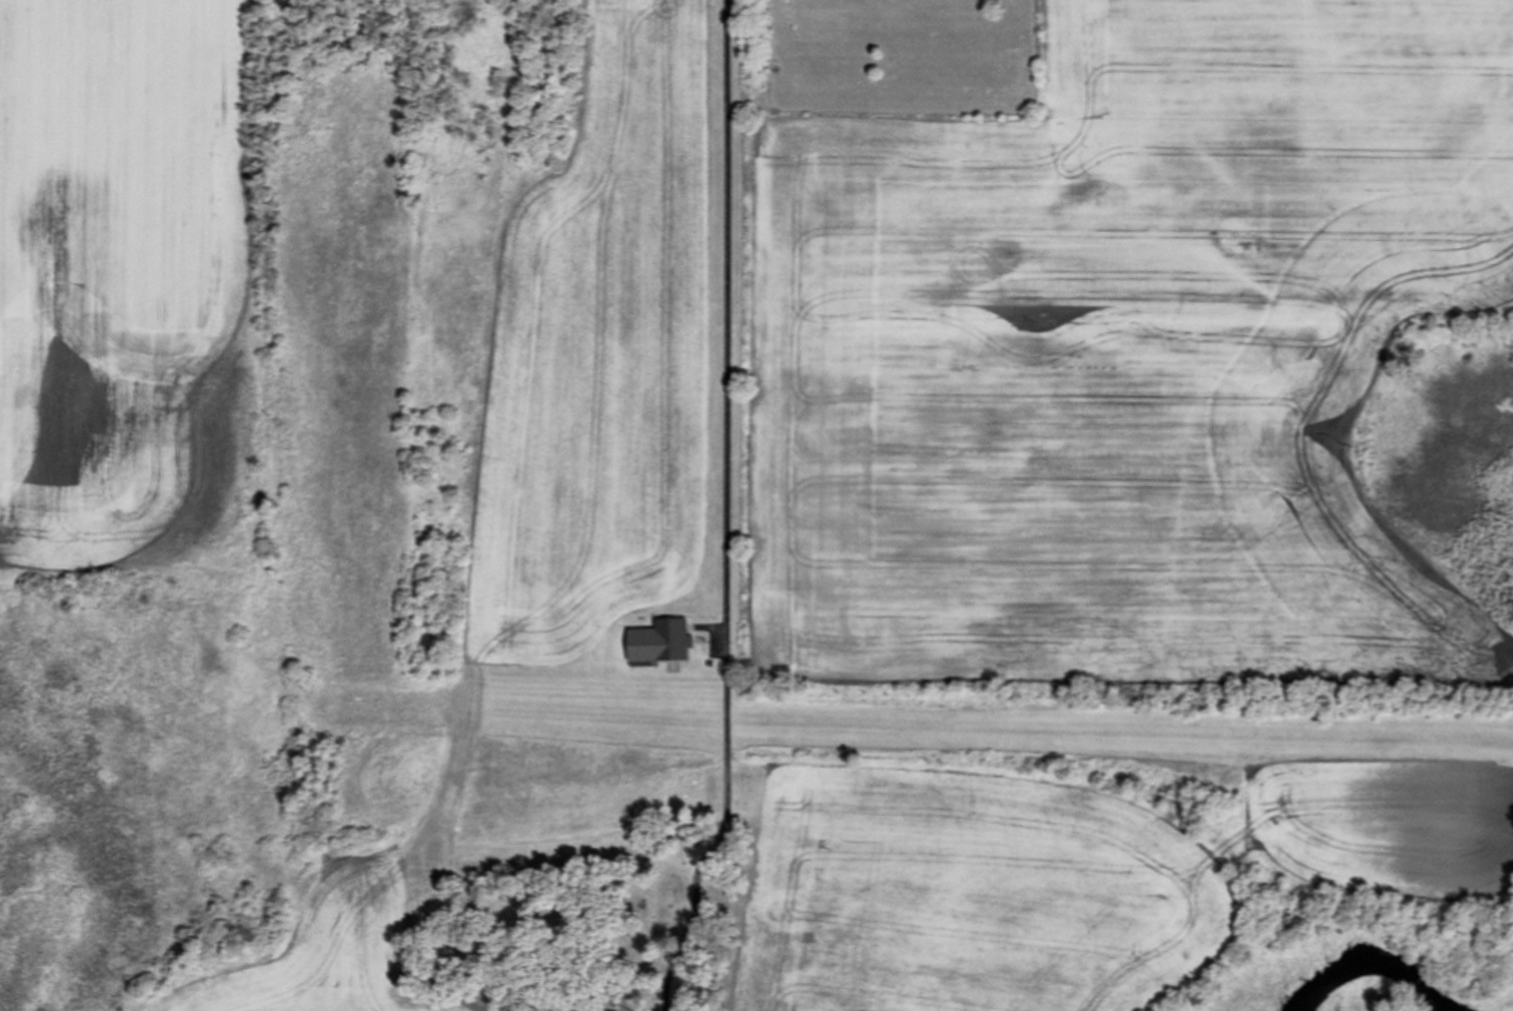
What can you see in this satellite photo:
road: (732, 510)
building: (662, 644)
river: (1385, 965)

